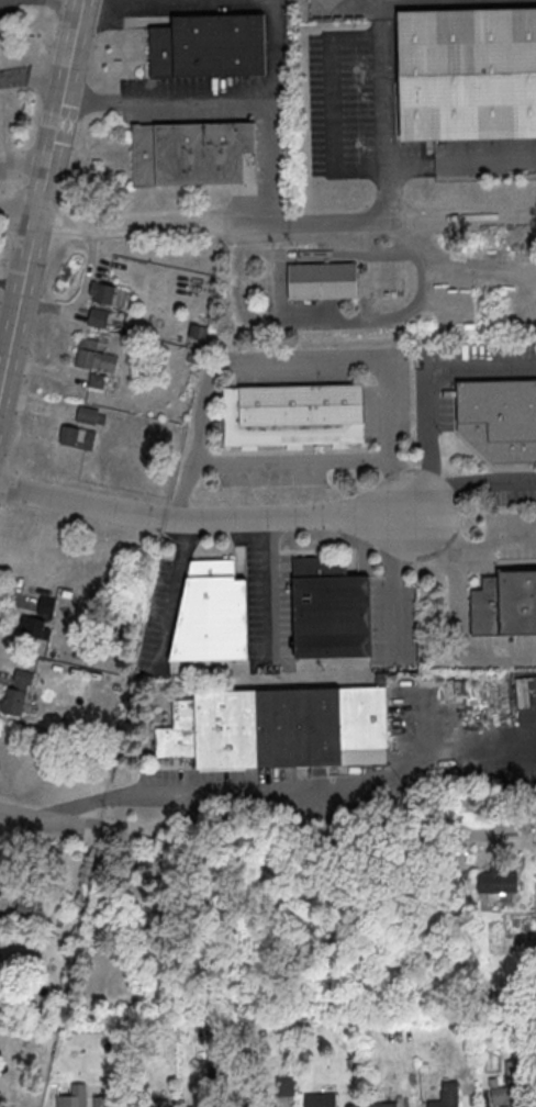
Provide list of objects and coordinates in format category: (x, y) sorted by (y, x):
road: (77, 0)
road: (90, 0)
road: (388, 8)
building: (209, 45)
building: (467, 72)
road: (32, 78)
road: (388, 90)
road: (332, 101)
road: (168, 103)
road: (57, 109)
road: (279, 110)
building: (191, 153)
road: (23, 157)
road: (462, 161)
road: (390, 191)
road: (18, 212)
road: (395, 219)
road: (212, 222)
building: (323, 284)
building: (101, 292)
road: (16, 300)
building: (105, 320)
road: (335, 322)
building: (93, 356)
road: (302, 358)
road: (432, 377)
building: (97, 380)
building: (90, 415)
building: (293, 418)
building: (500, 420)
building: (77, 437)
road: (295, 461)
road: (481, 488)
road: (422, 497)
road: (206, 519)
road: (436, 534)
road: (494, 537)
road: (391, 579)
building: (37, 603)
building: (504, 604)
building: (331, 608)
building: (211, 613)
building: (37, 619)
road: (460, 639)
building: (16, 693)
building: (278, 727)
road: (264, 786)
road: (40, 820)
building: (498, 879)
building: (1, 939)
building: (217, 1072)
building: (513, 1083)
building: (284, 1087)
building: (446, 1095)
building: (202, 1099)
building: (320, 1099)
building: (82, 1100)
building: (146, 1103)
building: (382, 1105)
building: (263, 1106)

